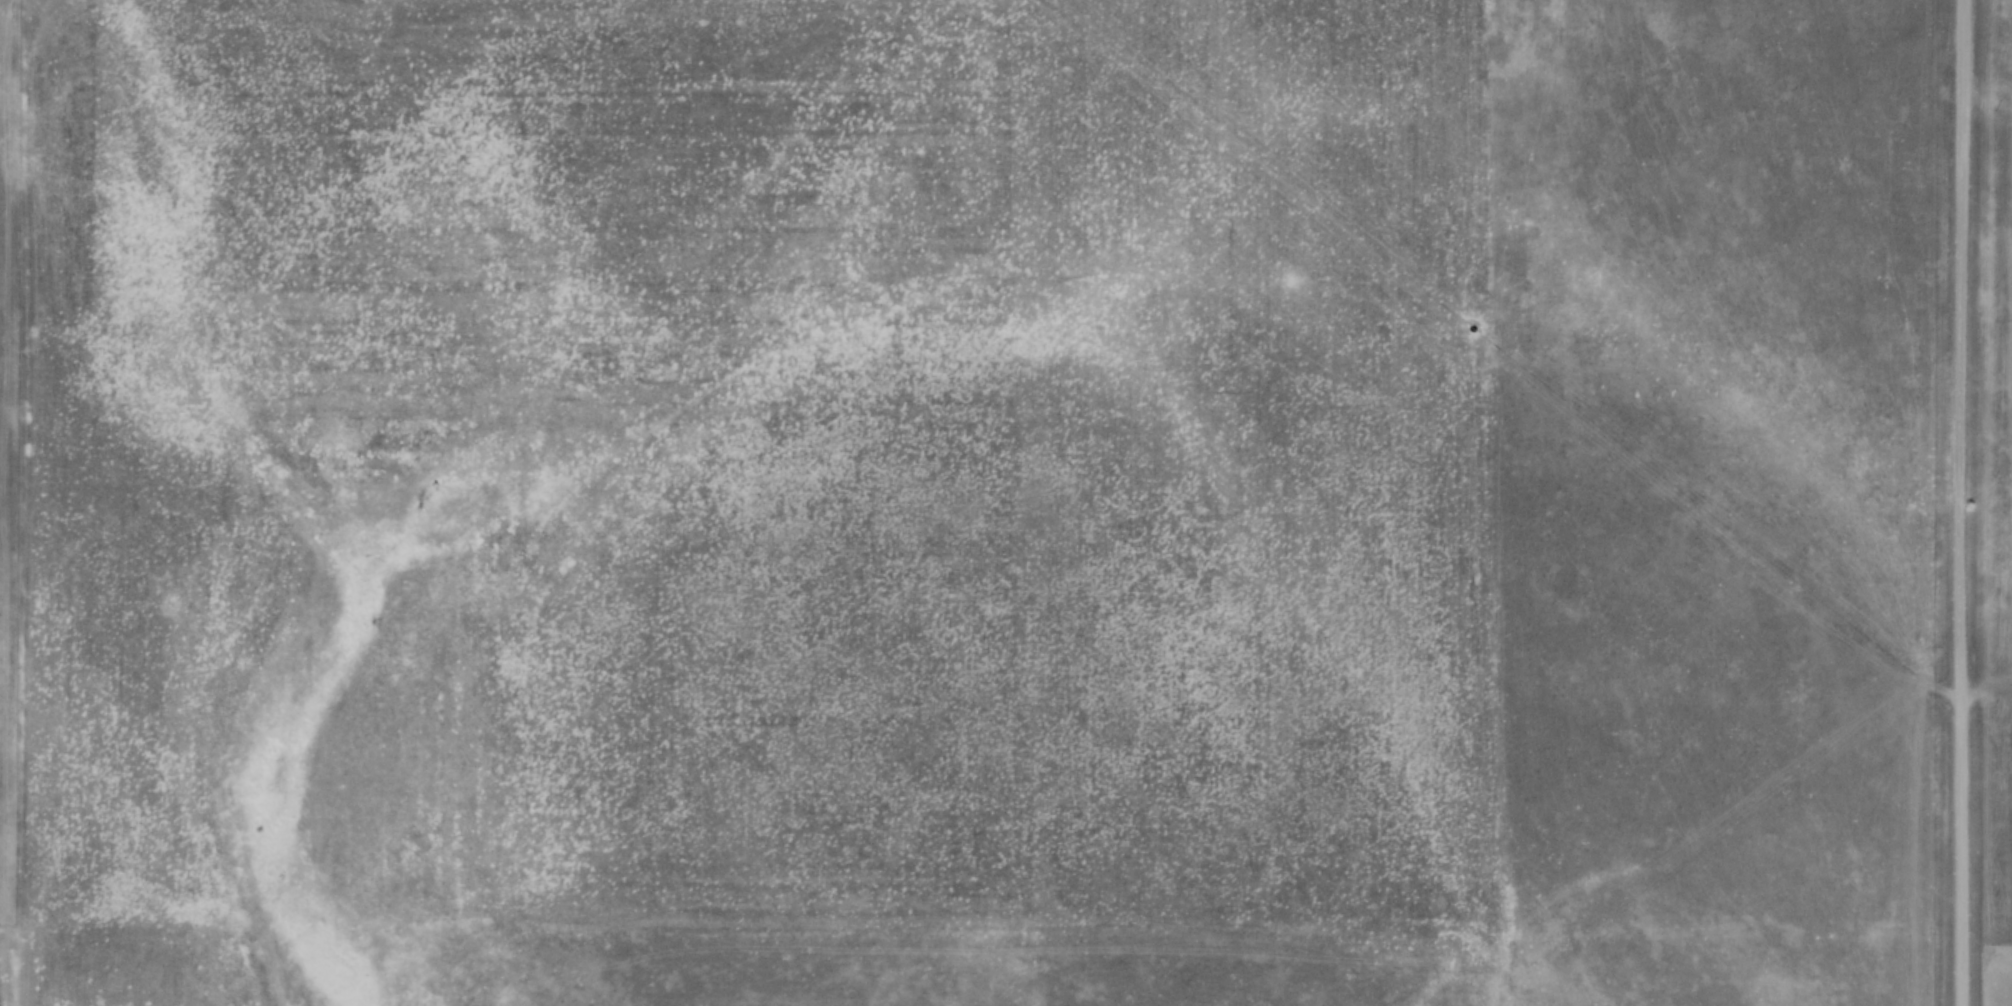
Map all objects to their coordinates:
road: (1957, 502)
road: (5, 970)

